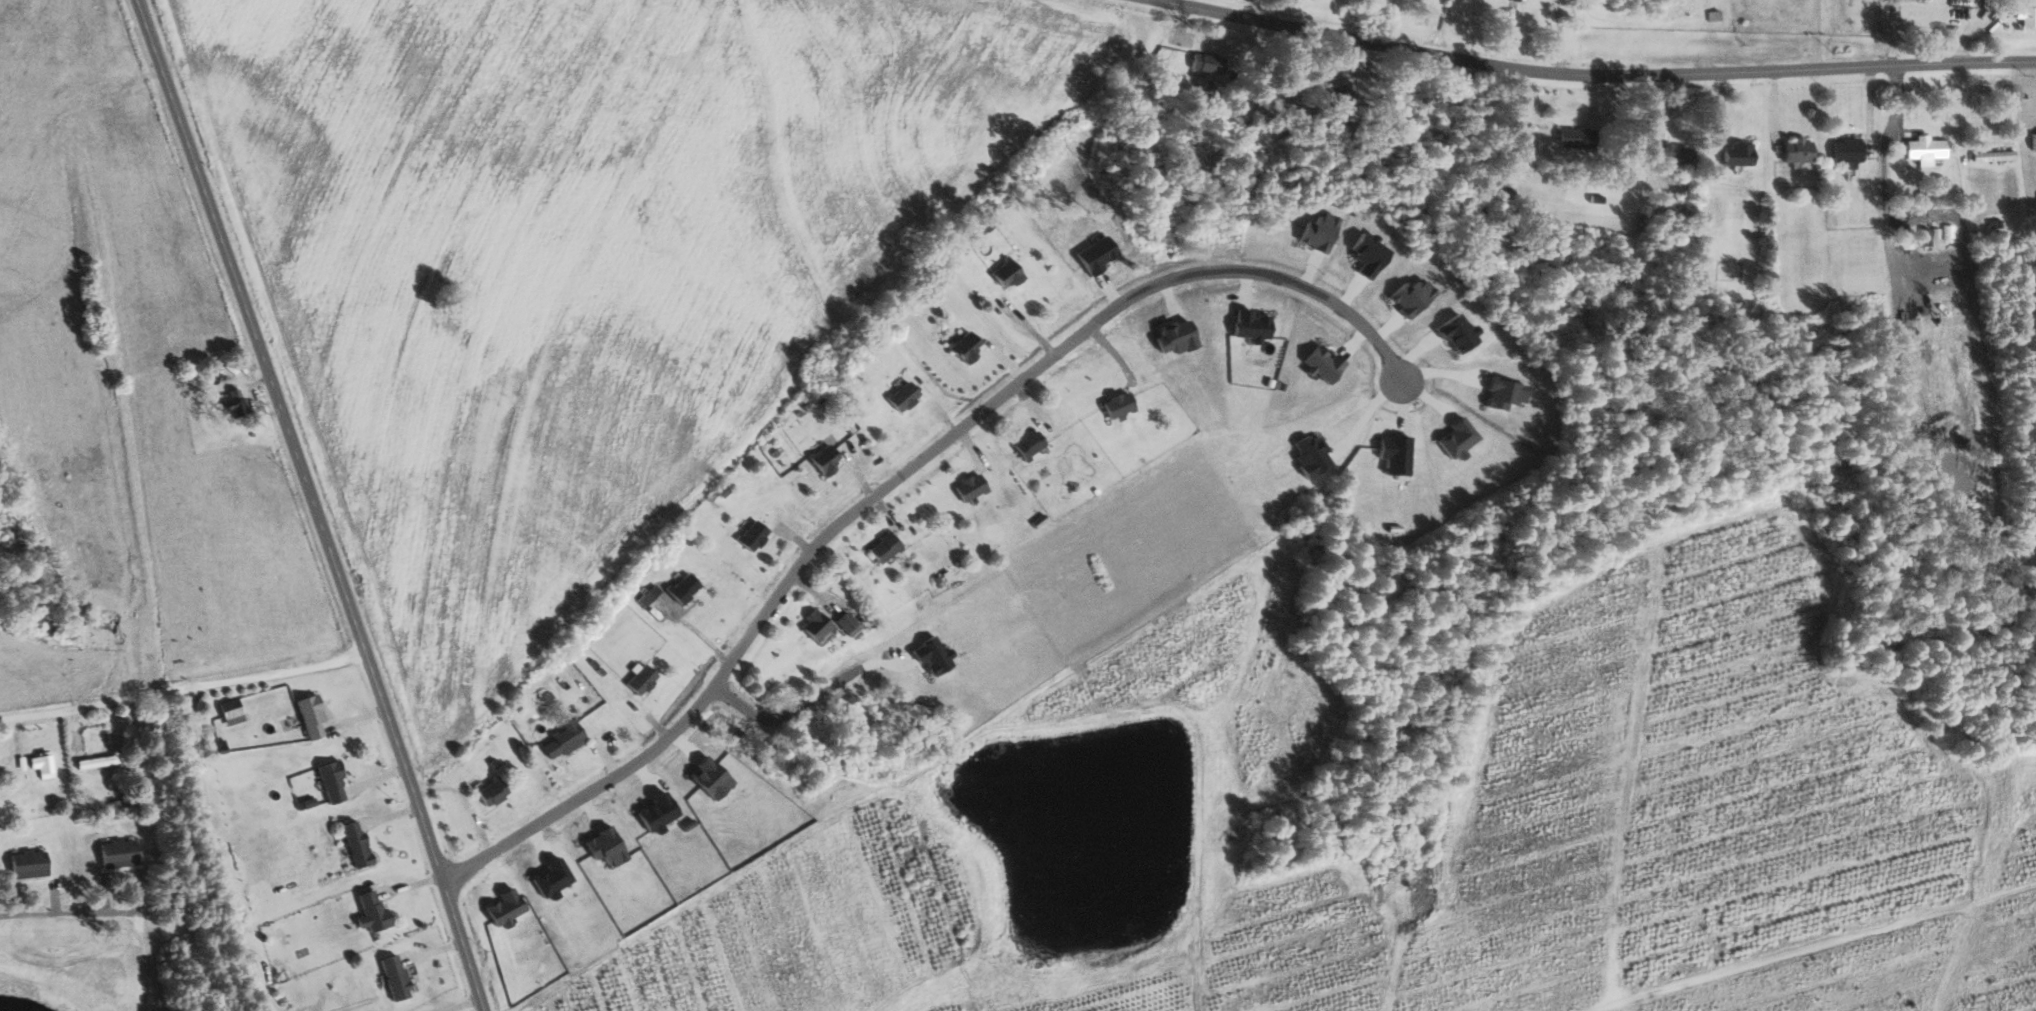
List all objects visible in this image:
building: (1524, 0)
road: (1297, 15)
building: (2028, 15)
road: (1970, 35)
road: (1816, 36)
road: (1561, 38)
building: (1209, 62)
road: (1592, 79)
building: (1579, 137)
building: (1777, 137)
building: (2034, 140)
building: (1927, 149)
building: (1799, 150)
building: (1850, 152)
building: (1678, 154)
building: (1740, 154)
building: (1950, 233)
building: (1928, 237)
building: (1010, 273)
building: (967, 346)
building: (905, 396)
building: (236, 405)
building: (1119, 405)
building: (1031, 445)
building: (828, 460)
road: (891, 482)
building: (972, 487)
road: (307, 504)
building: (755, 536)
building: (887, 548)
building: (687, 588)
building: (850, 622)
building: (818, 625)
road: (254, 679)
building: (644, 680)
road: (808, 701)
road: (74, 708)
building: (232, 712)
building: (312, 716)
building: (565, 739)
building: (43, 765)
building: (333, 783)
building: (494, 791)
building: (358, 843)
building: (119, 852)
building: (30, 863)
building: (374, 911)
road: (61, 915)
building: (396, 976)

